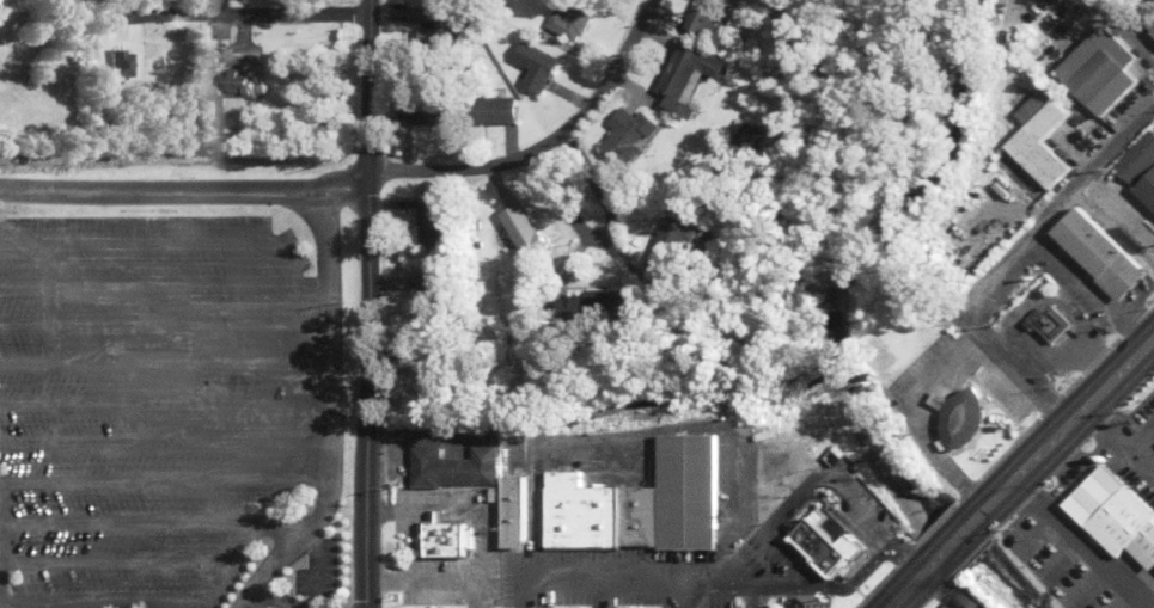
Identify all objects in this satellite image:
road: (258, 13)
building: (714, 17)
building: (579, 20)
road: (1123, 30)
building: (436, 31)
building: (1152, 31)
building: (543, 67)
building: (1095, 76)
building: (695, 78)
road: (371, 86)
building: (237, 90)
building: (496, 111)
building: (428, 113)
building: (1043, 115)
building: (630, 142)
road: (548, 145)
building: (1040, 158)
building: (1137, 167)
road: (185, 194)
road: (1057, 197)
road: (337, 201)
building: (433, 222)
building: (526, 232)
road: (604, 235)
road: (154, 240)
building: (674, 247)
building: (1103, 253)
road: (161, 283)
building: (593, 307)
river: (847, 323)
building: (1054, 323)
road: (1013, 363)
building: (425, 388)
road: (365, 389)
parking lot: (146, 398)
road: (323, 398)
road: (161, 401)
building: (963, 416)
road: (1066, 428)
road: (1119, 443)
building: (452, 467)
building: (689, 490)
building: (514, 512)
building: (600, 512)
building: (1118, 514)
road: (122, 521)
building: (445, 538)
road: (959, 539)
road: (238, 540)
building: (861, 542)
road: (1081, 545)
building: (825, 548)
road: (0, 571)
parking lot: (317, 572)
road: (915, 583)
road: (244, 592)
road: (270, 597)
road: (236, 606)
road: (242, 606)

